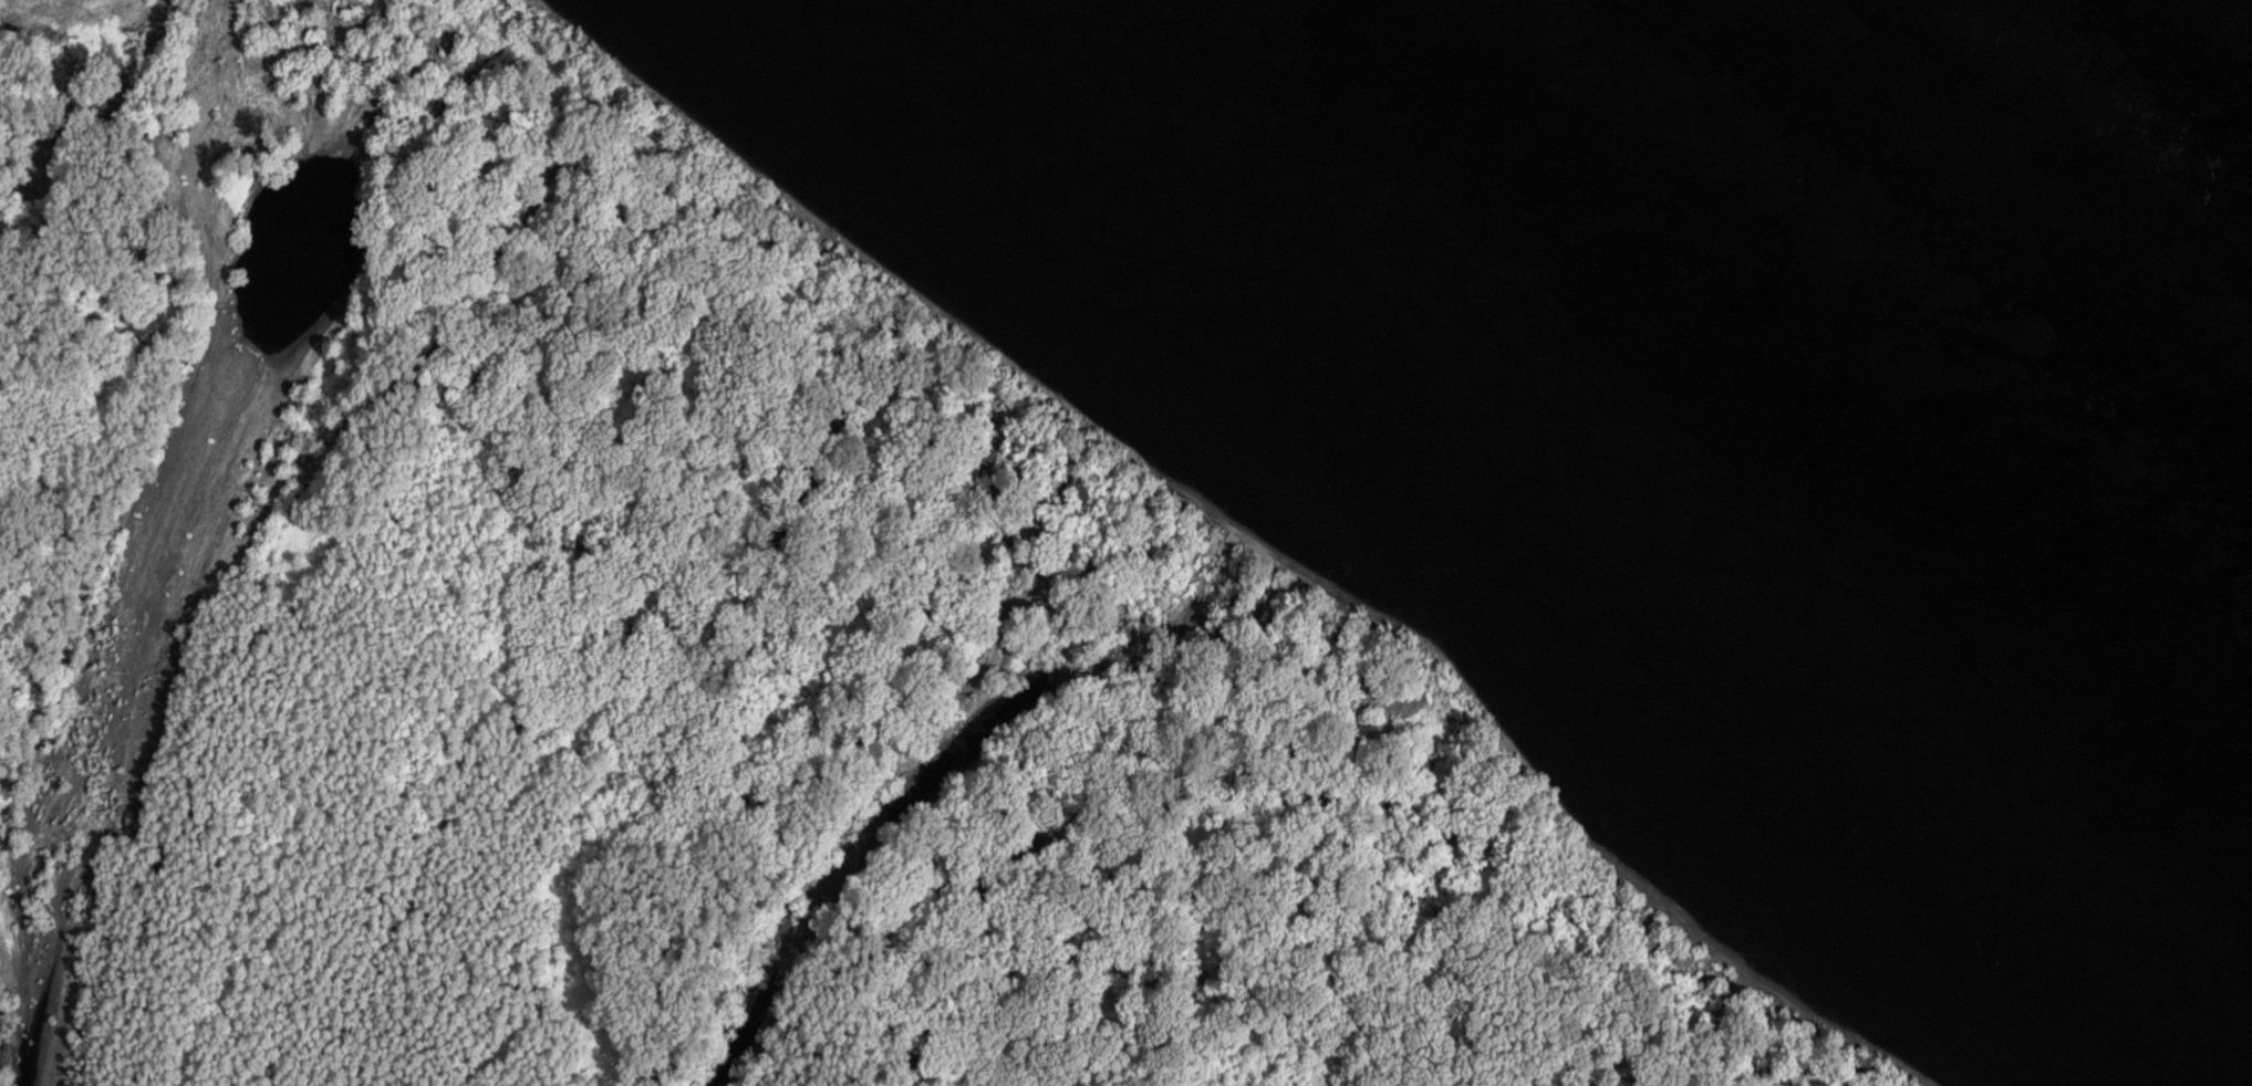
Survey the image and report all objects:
river: (2064, 145)

